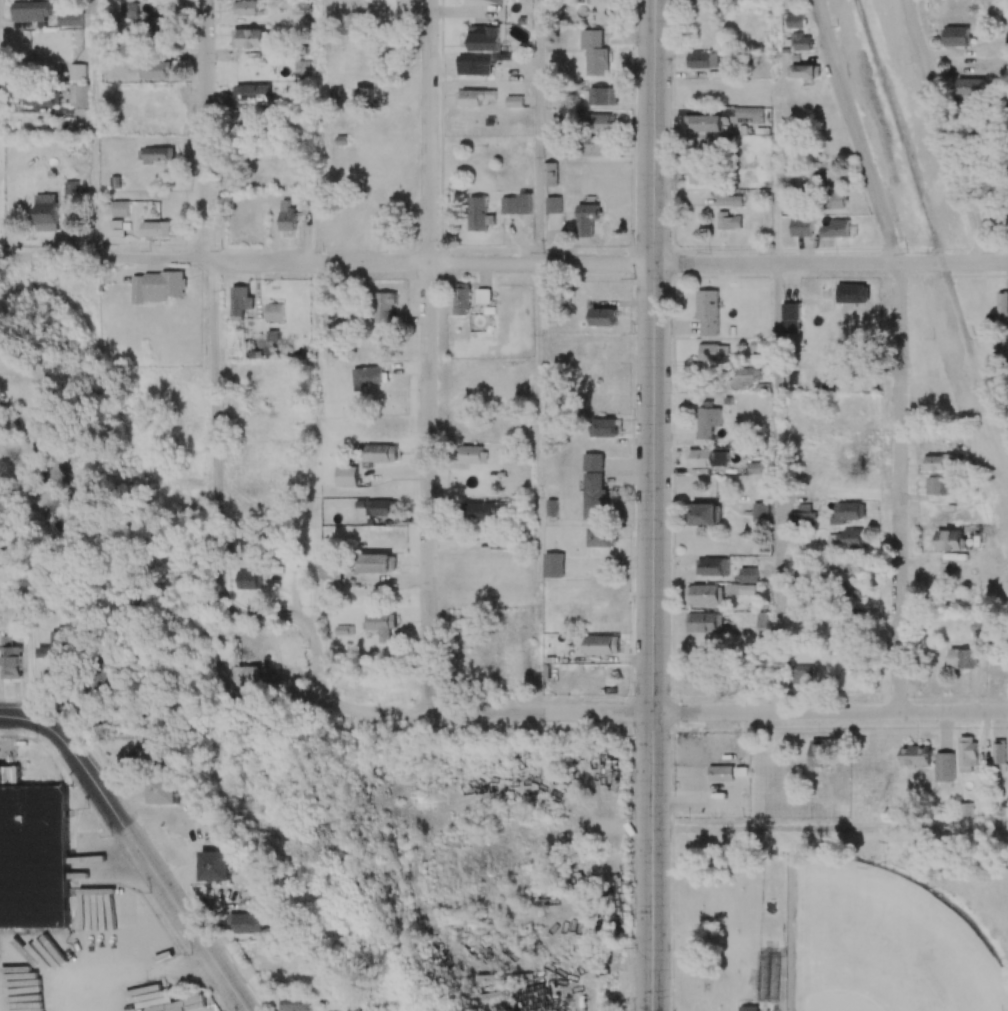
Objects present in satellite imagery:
building: (499, 1)
building: (245, 8)
building: (131, 10)
building: (30, 11)
building: (69, 18)
building: (793, 20)
building: (157, 26)
building: (955, 35)
building: (484, 38)
building: (798, 41)
building: (595, 52)
building: (702, 60)
building: (474, 64)
building: (302, 68)
building: (154, 69)
building: (77, 71)
building: (804, 71)
building: (970, 86)
building: (79, 94)
building: (252, 94)
building: (603, 95)
building: (476, 97)
building: (514, 101)
building: (750, 113)
building: (602, 123)
building: (702, 123)
road: (94, 128)
road: (537, 131)
road: (855, 131)
road: (947, 131)
building: (596, 146)
building: (155, 155)
building: (831, 171)
building: (550, 174)
building: (700, 174)
building: (71, 192)
building: (729, 198)
building: (836, 200)
building: (516, 204)
building: (553, 204)
building: (120, 208)
building: (45, 212)
building: (478, 213)
building: (286, 215)
building: (587, 218)
building: (728, 221)
building: (802, 226)
building: (155, 228)
building: (836, 229)
road: (326, 263)
road: (830, 263)
building: (156, 286)
building: (852, 293)
building: (483, 296)
building: (461, 299)
building: (240, 301)
building: (384, 307)
building: (1003, 308)
building: (274, 311)
building: (708, 311)
building: (604, 317)
building: (791, 317)
building: (712, 351)
road: (428, 357)
building: (745, 376)
building: (366, 377)
road: (216, 389)
building: (853, 404)
building: (708, 422)
building: (604, 427)
building: (381, 452)
building: (472, 454)
building: (854, 456)
building: (703, 458)
building: (593, 461)
building: (942, 462)
building: (346, 476)
building: (937, 485)
road: (774, 487)
road: (899, 487)
building: (594, 496)
road: (653, 505)
building: (381, 507)
building: (551, 507)
building: (481, 510)
building: (760, 512)
building: (848, 512)
building: (803, 513)
building: (704, 514)
building: (601, 536)
building: (855, 536)
building: (950, 540)
building: (499, 542)
building: (377, 563)
building: (553, 565)
building: (713, 566)
building: (848, 566)
building: (330, 571)
building: (749, 574)
building: (248, 580)
building: (747, 589)
building: (856, 591)
building: (706, 594)
building: (704, 622)
building: (381, 625)
building: (979, 634)
building: (599, 644)
building: (59, 647)
building: (10, 658)
building: (962, 658)
building: (244, 675)
building: (802, 676)
road: (830, 712)
road: (490, 714)
road: (23, 717)
building: (820, 753)
building: (967, 754)
building: (916, 755)
building: (999, 756)
building: (944, 767)
building: (3, 774)
building: (164, 789)
road: (830, 829)
building: (33, 856)
road: (148, 864)
building: (216, 865)
park: (842, 919)
building: (249, 923)
park: (881, 943)
building: (293, 1004)
building: (357, 1008)
building: (748, 1008)

